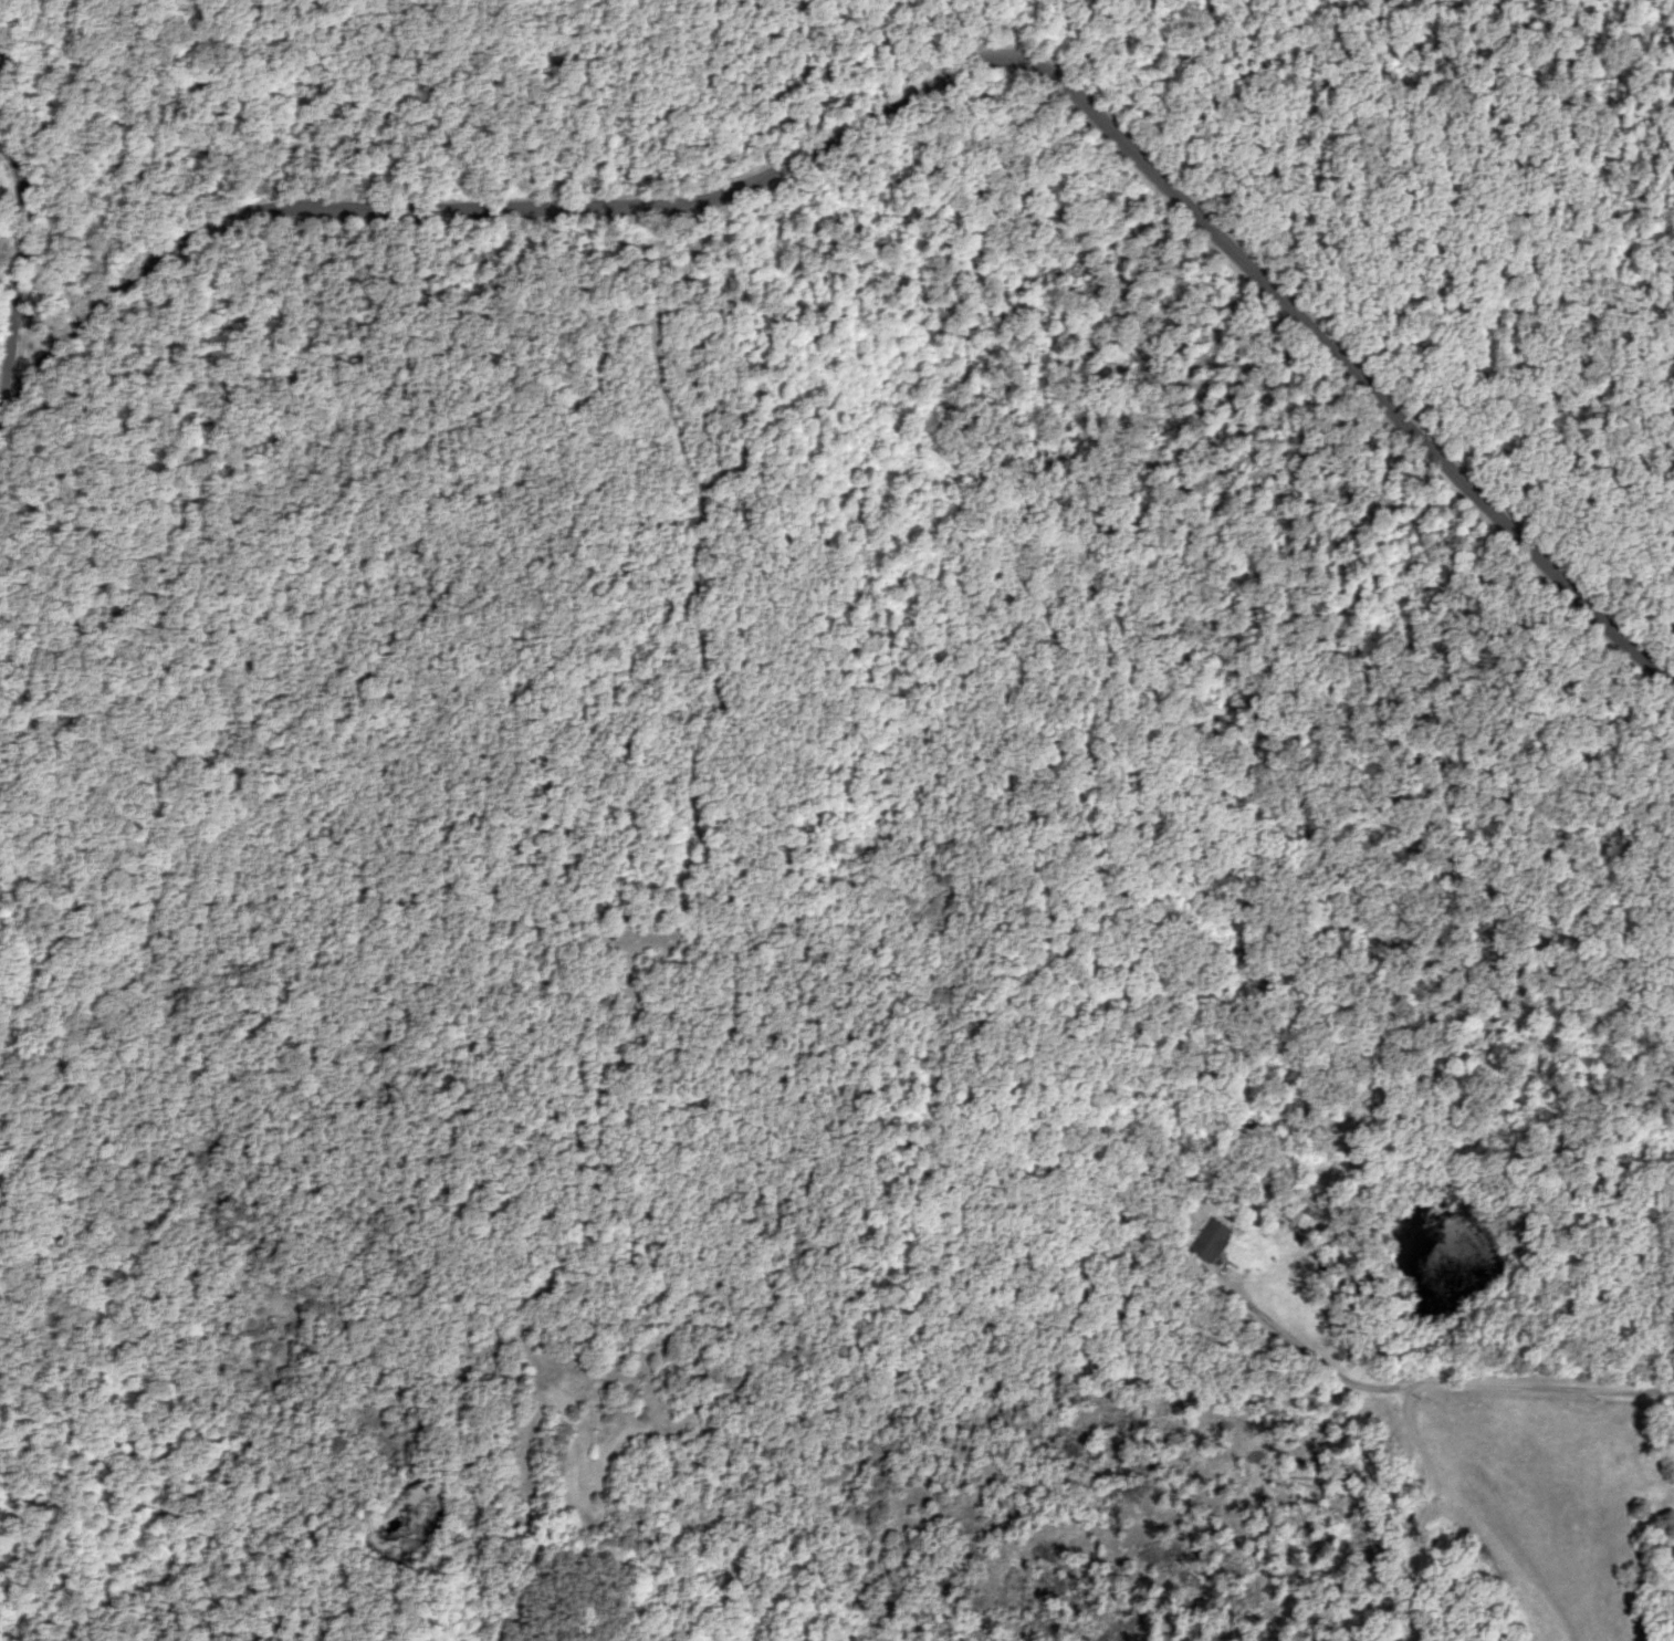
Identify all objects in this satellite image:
road: (897, 52)
road: (700, 80)
road: (51, 198)
park: (1336, 440)
building: (1215, 1241)

